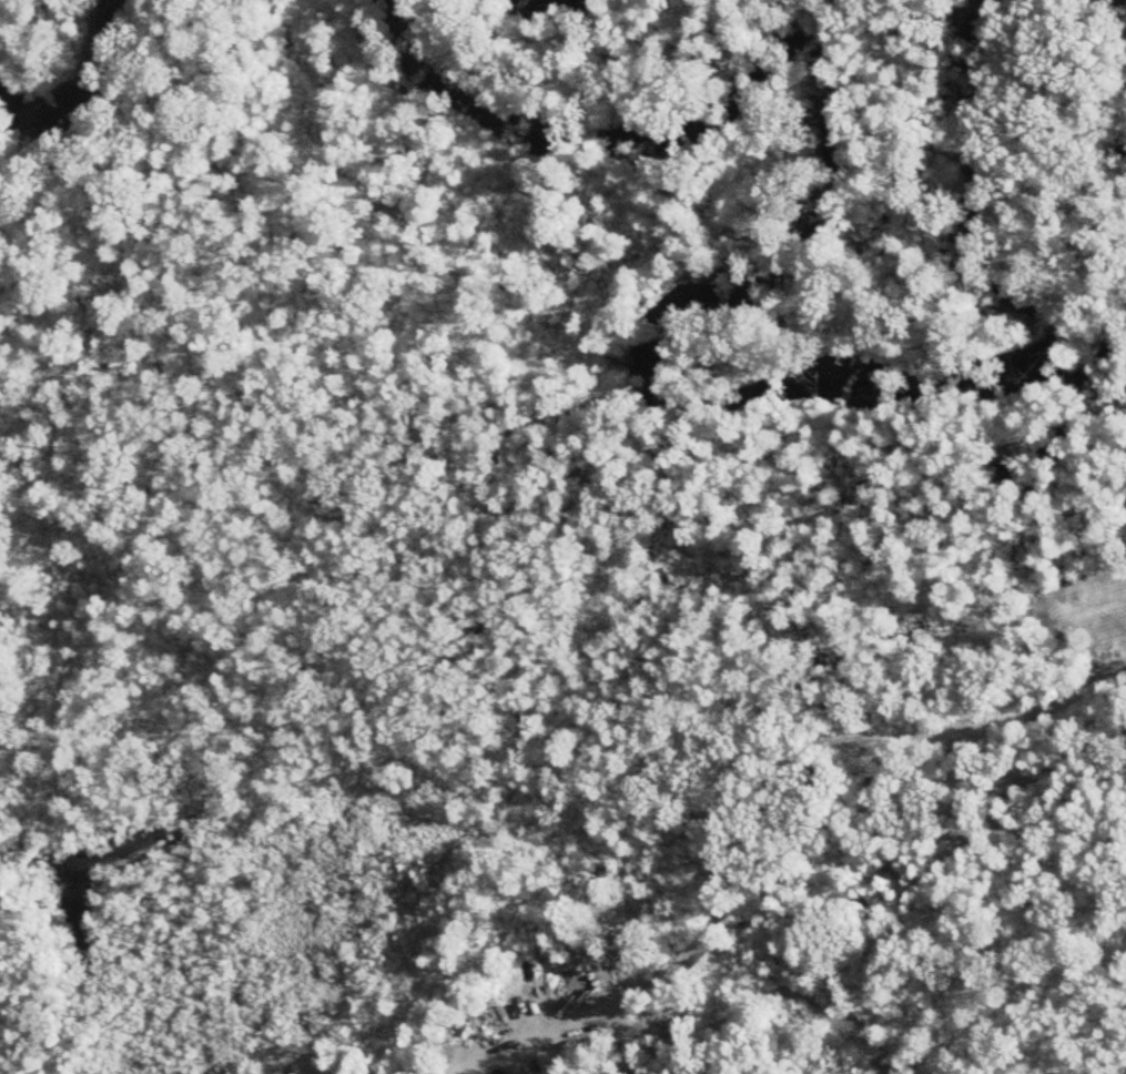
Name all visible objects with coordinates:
river: (75, 55)
river: (702, 304)
road: (726, 815)

